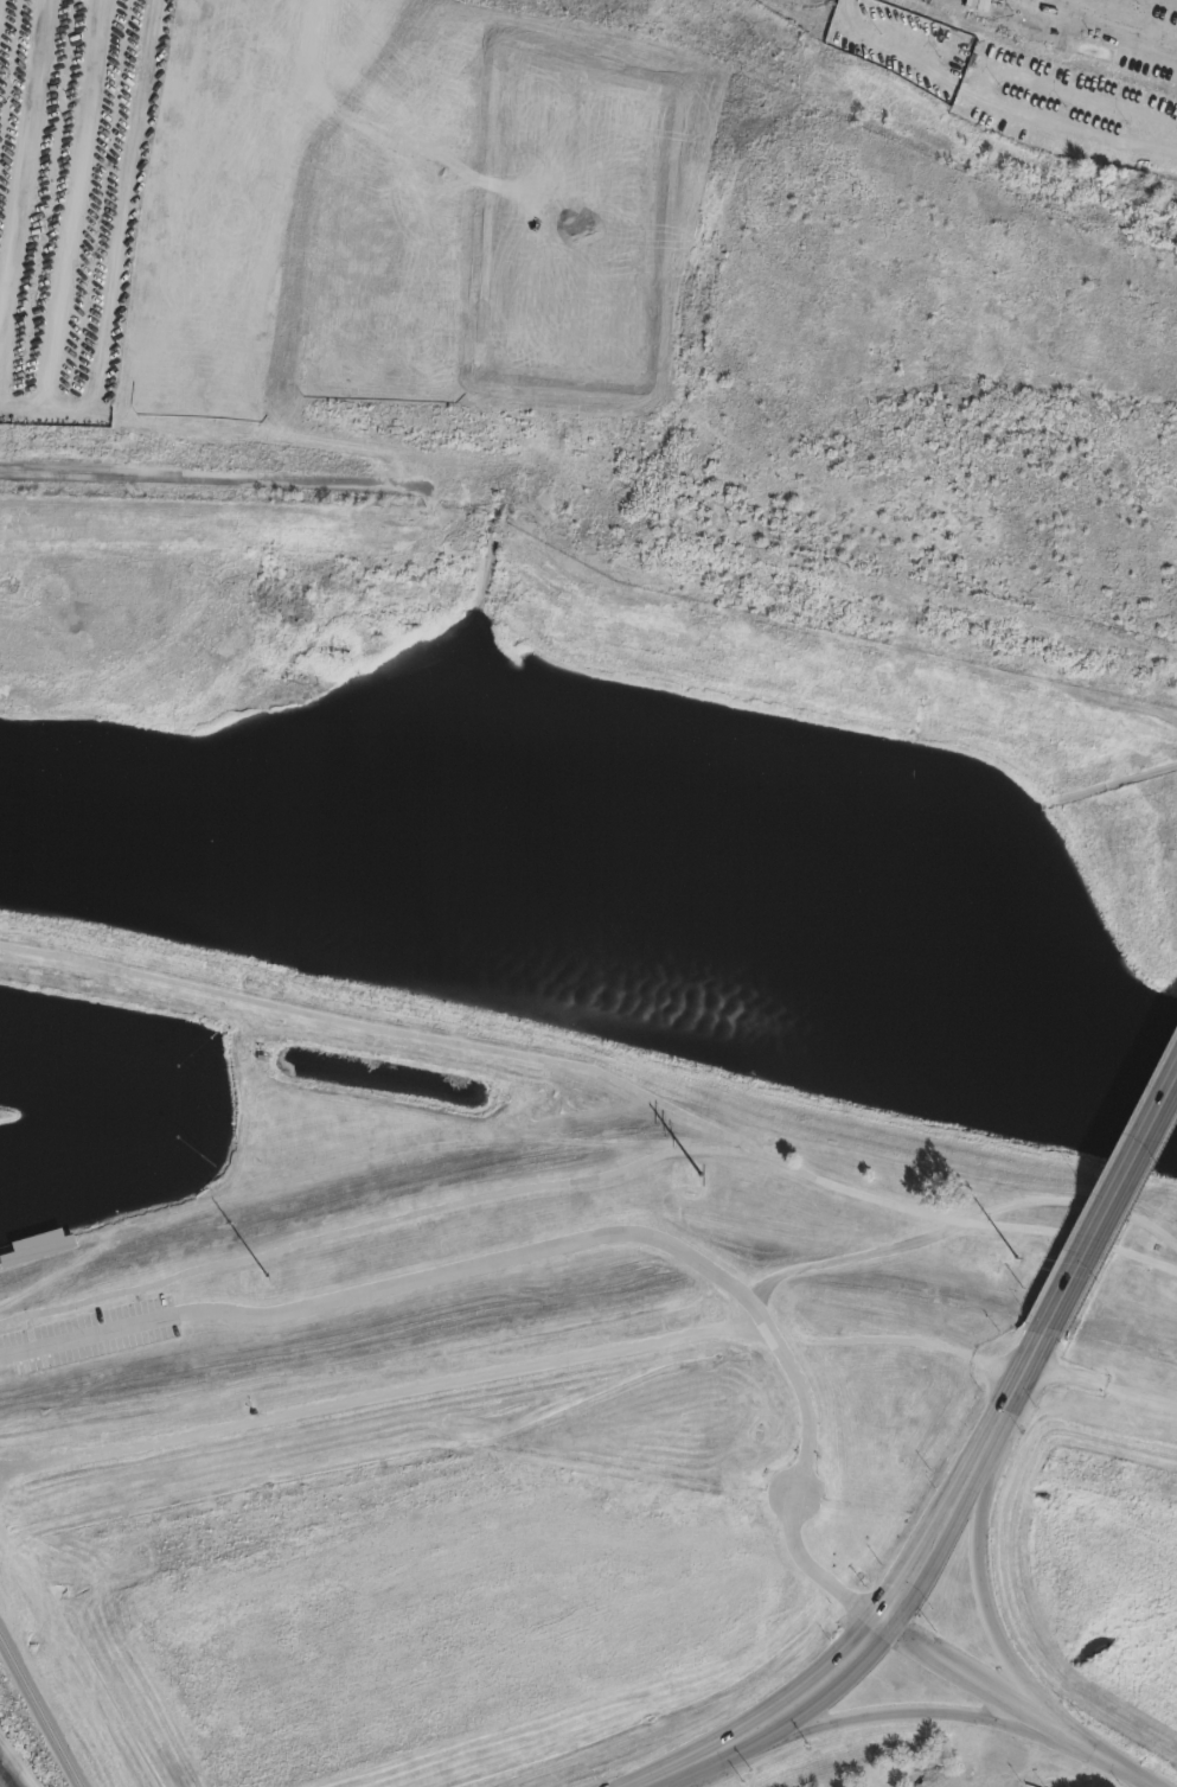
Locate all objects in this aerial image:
road: (26, 177)
road: (77, 197)
road: (122, 245)
river: (589, 915)
road: (601, 1072)
power tower: (684, 1174)
road: (1035, 1194)
road: (1109, 1199)
road: (384, 1220)
road: (575, 1238)
road: (815, 1259)
power tower: (1034, 1259)
power tower: (251, 1278)
parking lot: (89, 1333)
road: (88, 1334)
road: (999, 1362)
road: (385, 1397)
road: (836, 1587)
road: (933, 1642)
railway: (40, 1711)
road: (1009, 1716)
road: (1042, 1718)
railway: (7, 1776)
railway: (7, 1778)
road: (1154, 1786)

